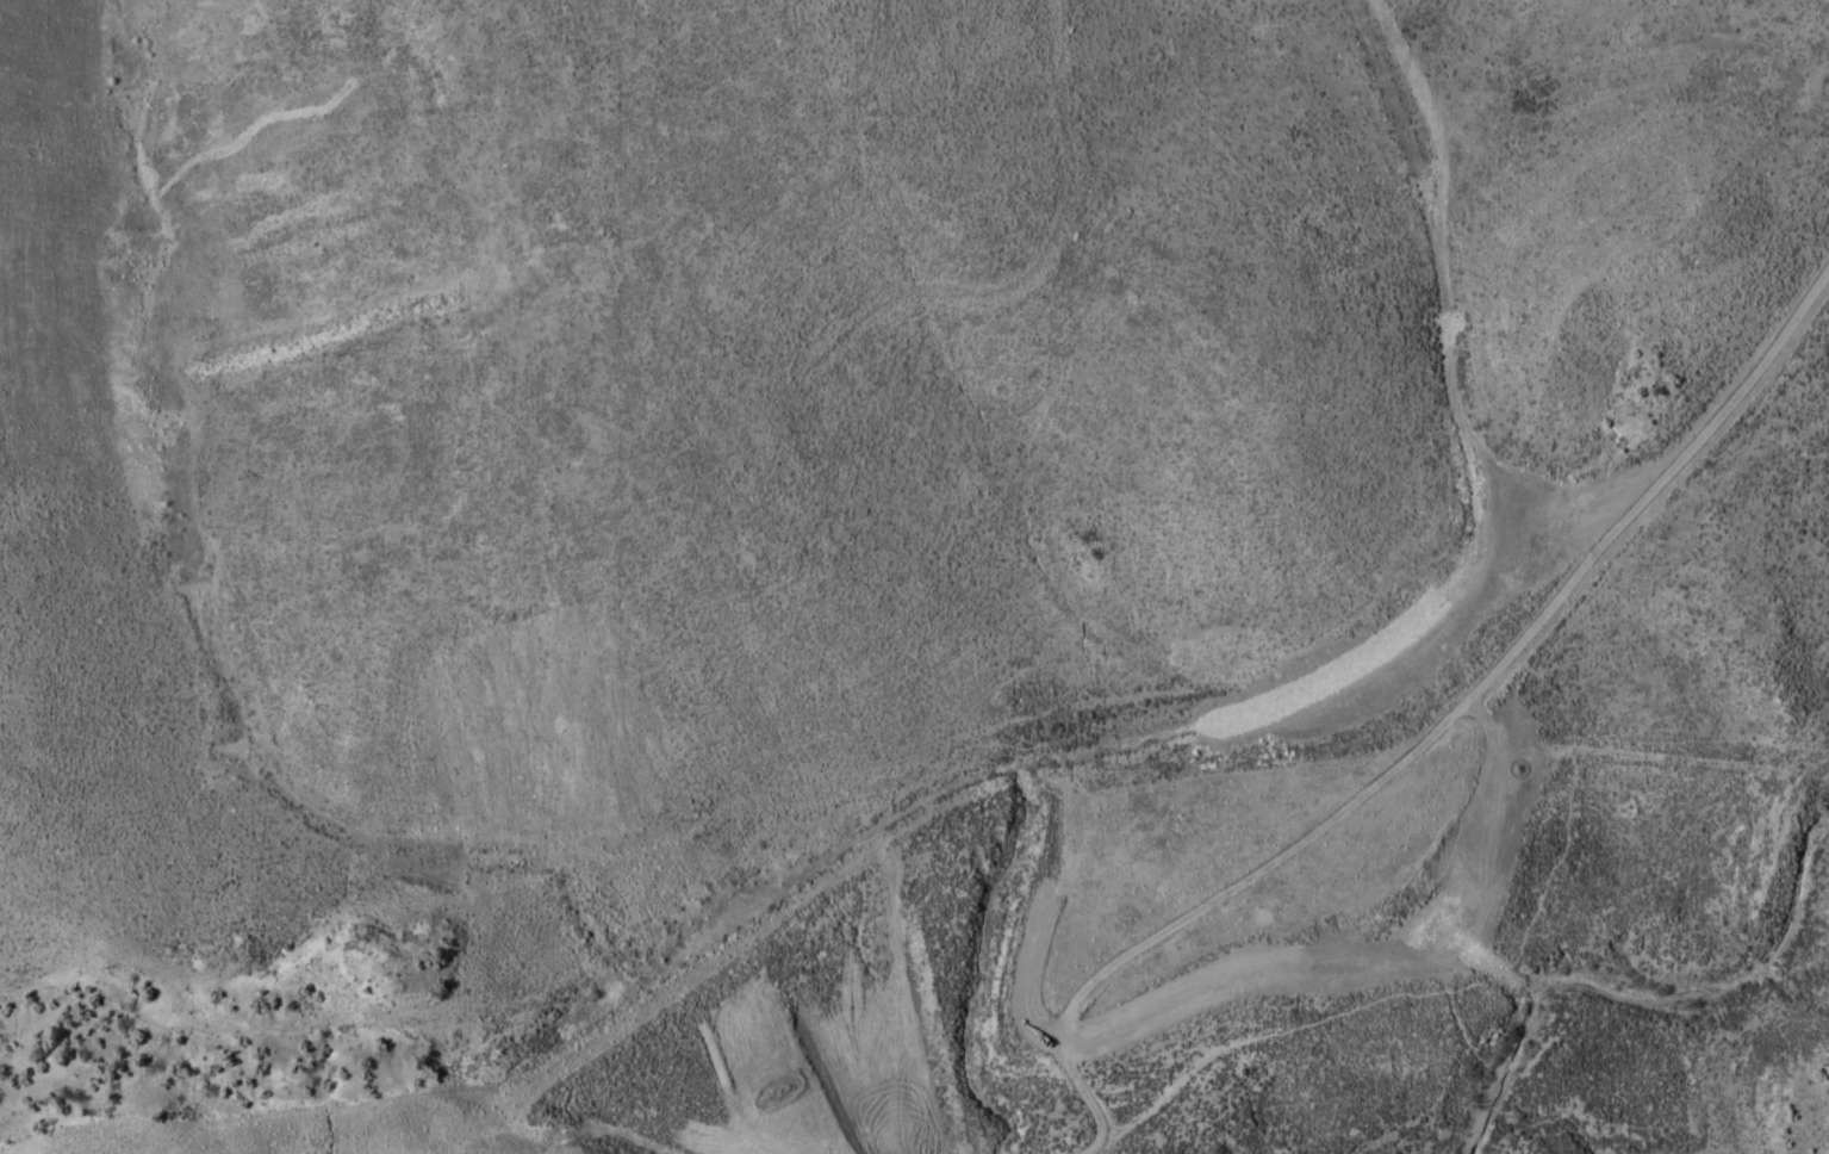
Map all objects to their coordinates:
railway: (338, 1148)

